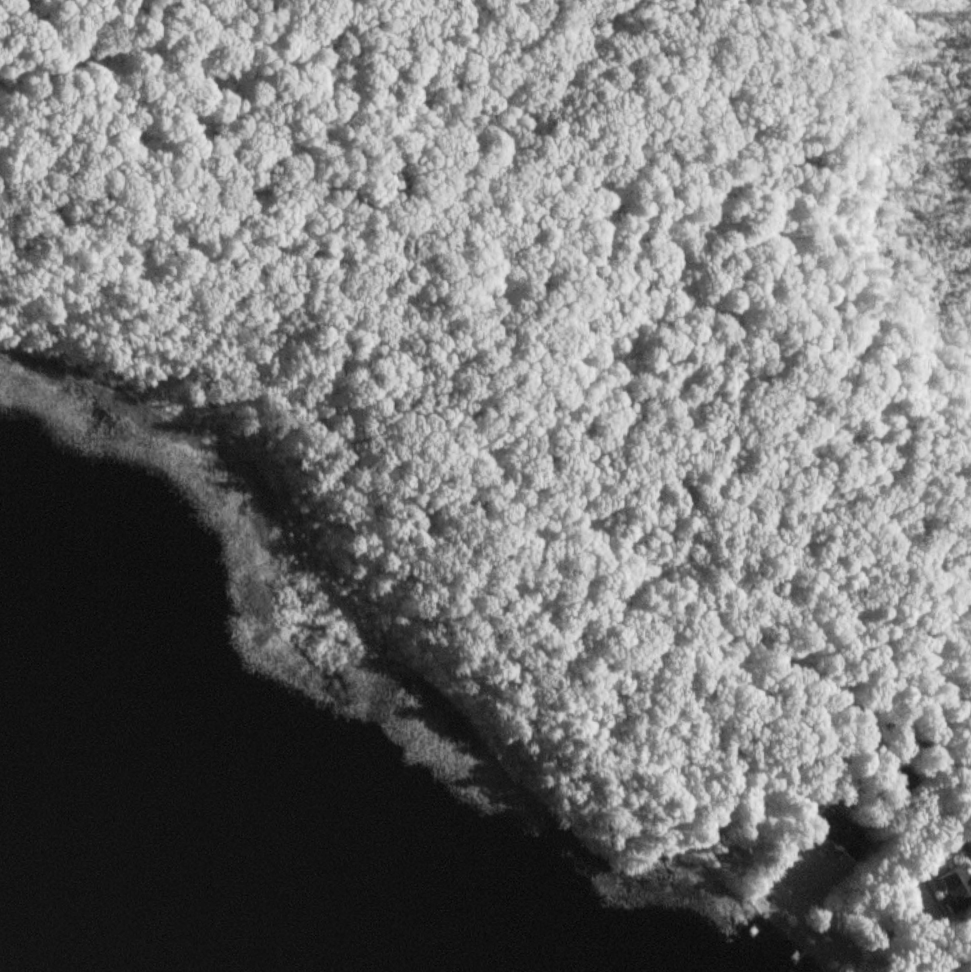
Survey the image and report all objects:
road: (894, 721)
building: (899, 778)
building: (838, 833)
building: (970, 844)
building: (954, 889)

